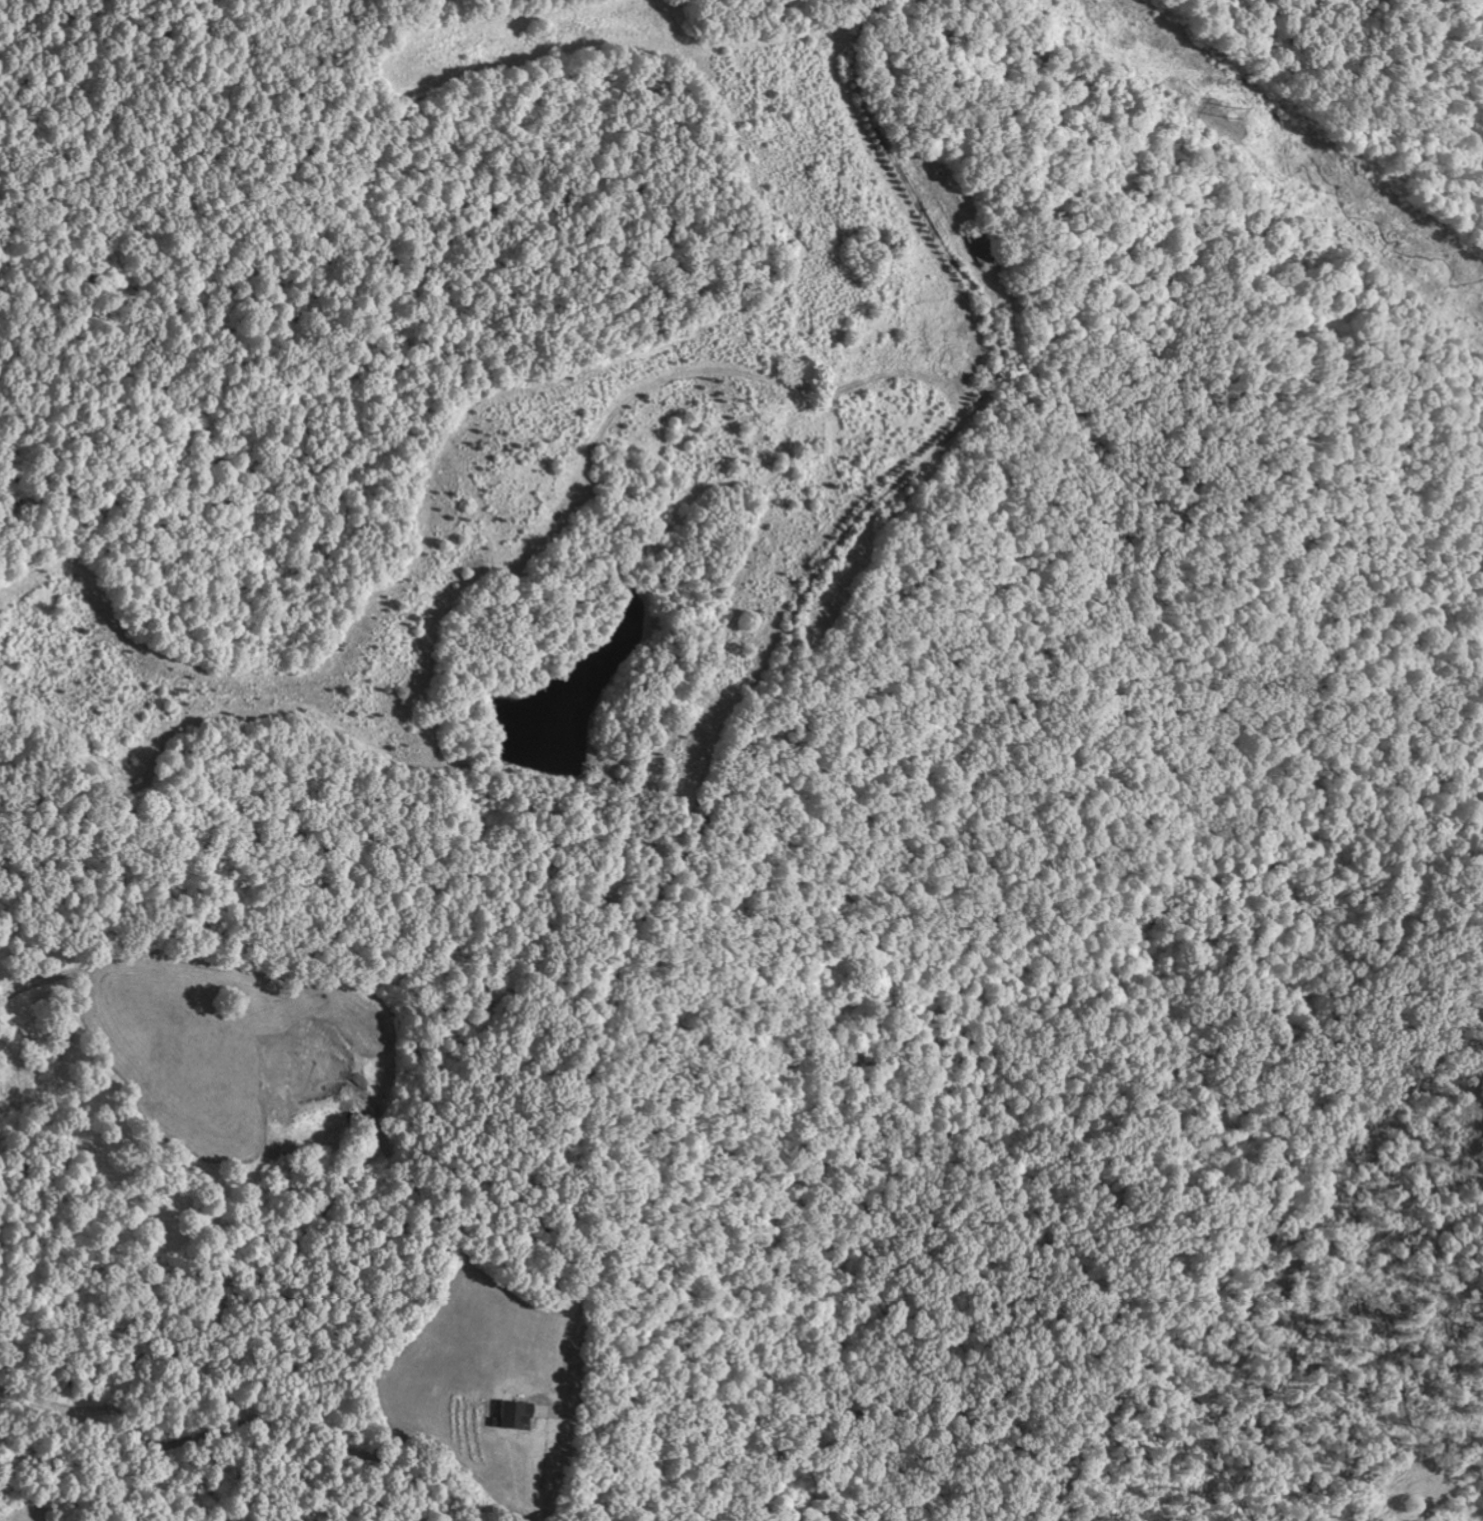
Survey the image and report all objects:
road: (749, 724)

